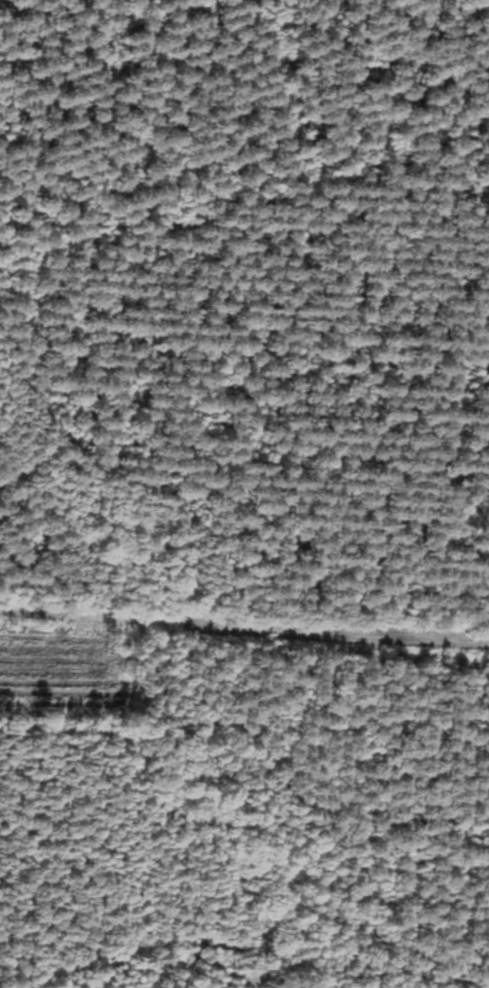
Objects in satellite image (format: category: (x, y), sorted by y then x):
road: (275, 637)

